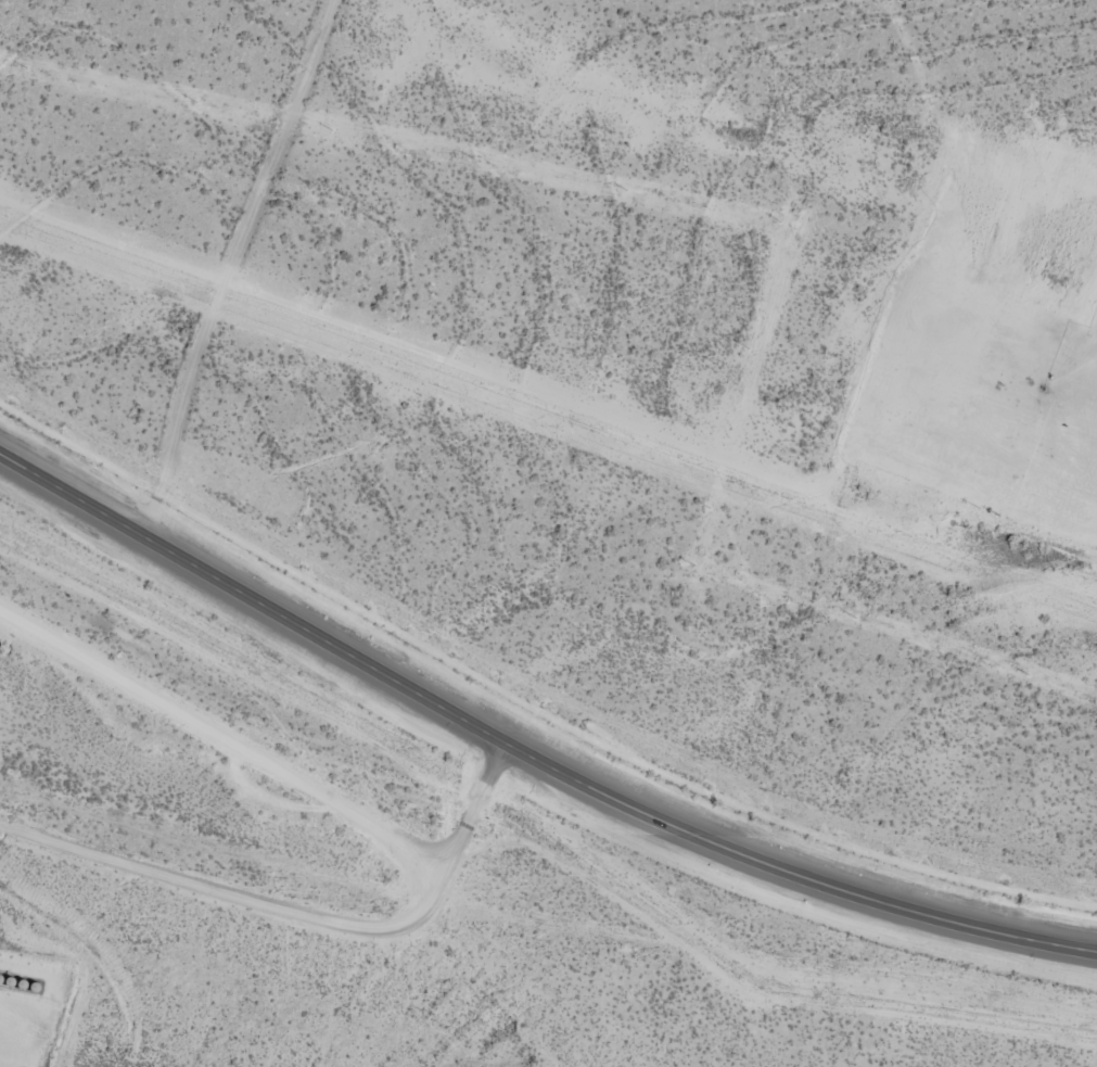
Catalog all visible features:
road: (205, 257)
road: (526, 753)

